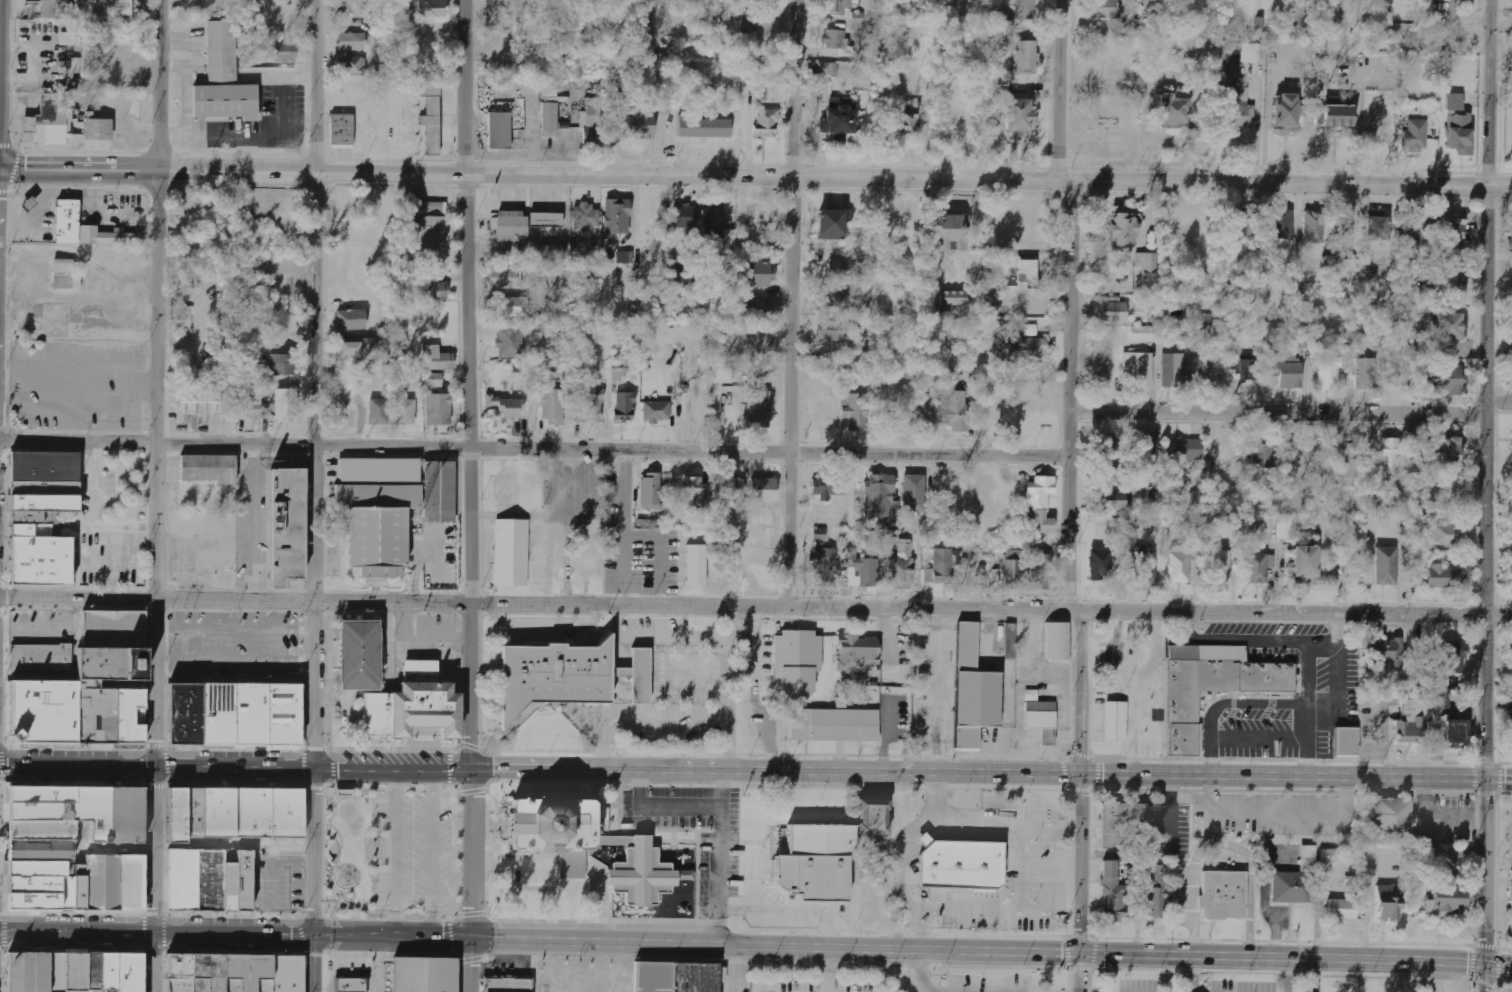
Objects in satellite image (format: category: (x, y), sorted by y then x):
building: (1136, 3)
building: (838, 6)
building: (430, 7)
building: (120, 8)
building: (56, 9)
building: (1026, 9)
building: (1104, 9)
building: (1445, 10)
building: (857, 20)
building: (757, 23)
building: (1002, 28)
building: (73, 34)
building: (834, 39)
building: (351, 42)
building: (284, 52)
building: (1026, 56)
building: (1239, 57)
building: (70, 66)
building: (351, 66)
building: (827, 69)
building: (222, 80)
road: (1061, 92)
building: (1454, 101)
building: (1240, 109)
building: (1173, 111)
building: (594, 112)
building: (1286, 112)
building: (1335, 112)
building: (431, 116)
building: (1019, 116)
building: (109, 118)
building: (839, 118)
building: (550, 120)
building: (50, 122)
building: (637, 123)
building: (767, 123)
building: (907, 123)
building: (705, 126)
building: (499, 130)
building: (1460, 133)
building: (1415, 135)
building: (592, 139)
road: (756, 178)
building: (430, 208)
building: (685, 216)
building: (585, 217)
building: (616, 217)
building: (546, 219)
building: (831, 223)
building: (717, 224)
building: (1281, 224)
building: (510, 225)
building: (1124, 227)
building: (1376, 228)
building: (1242, 229)
building: (82, 230)
building: (952, 232)
building: (425, 233)
building: (1313, 233)
building: (1342, 236)
building: (1414, 237)
building: (1453, 241)
building: (625, 257)
building: (1148, 268)
building: (846, 269)
building: (816, 270)
building: (1026, 271)
building: (754, 274)
building: (63, 276)
building: (505, 278)
building: (1440, 286)
building: (433, 290)
building: (952, 299)
road: (795, 303)
building: (512, 307)
building: (761, 307)
building: (1114, 311)
building: (351, 320)
building: (1449, 327)
building: (832, 330)
building: (1030, 330)
building: (1146, 334)
building: (510, 342)
building: (356, 349)
building: (1031, 350)
building: (438, 359)
building: (284, 364)
building: (1211, 365)
building: (1139, 368)
building: (1173, 369)
building: (1248, 369)
building: (552, 370)
building: (1102, 370)
building: (1288, 372)
building: (1329, 373)
building: (1365, 374)
building: (618, 375)
building: (722, 375)
building: (433, 379)
building: (1444, 379)
parking lot: (76, 384)
road: (159, 384)
road: (318, 385)
road: (474, 385)
road: (1487, 389)
road: (1068, 397)
building: (199, 401)
road: (1499, 403)
building: (286, 405)
building: (552, 405)
building: (507, 406)
building: (591, 406)
building: (624, 406)
building: (251, 409)
building: (436, 409)
building: (758, 409)
building: (376, 410)
building: (402, 410)
building: (956, 410)
building: (657, 411)
building: (858, 412)
road: (1277, 413)
road: (533, 445)
building: (1185, 449)
building: (1453, 450)
building: (1148, 452)
building: (1106, 454)
building: (1261, 456)
building: (1392, 456)
building: (1349, 463)
building: (205, 470)
building: (695, 488)
building: (828, 488)
building: (731, 489)
building: (763, 490)
building: (437, 491)
building: (649, 492)
building: (503, 493)
building: (914, 493)
building: (1444, 493)
building: (878, 496)
building: (1110, 501)
building: (1041, 504)
building: (376, 509)
building: (39, 512)
building: (894, 517)
building: (284, 523)
road: (624, 526)
building: (1284, 527)
building: (819, 535)
building: (1446, 536)
building: (509, 554)
building: (691, 563)
building: (1100, 563)
building: (945, 564)
building: (1146, 564)
building: (1305, 565)
building: (588, 566)
building: (902, 566)
building: (1387, 566)
building: (825, 567)
building: (1220, 567)
building: (1259, 567)
building: (1179, 568)
building: (865, 569)
building: (1013, 570)
building: (1039, 572)
building: (1444, 576)
road: (755, 606)
building: (1011, 641)
parking lot: (234, 643)
building: (1055, 643)
building: (1387, 652)
building: (357, 654)
building: (856, 655)
building: (40, 656)
building: (796, 664)
building: (1447, 664)
building: (564, 674)
building: (108, 684)
building: (86, 685)
building: (1214, 687)
building: (1406, 688)
building: (973, 693)
road: (1080, 693)
building: (1439, 701)
building: (412, 705)
building: (232, 713)
building: (1038, 717)
building: (1412, 721)
building: (1115, 722)
building: (832, 726)
building: (1456, 731)
building: (1509, 731)
building: (1347, 742)
road: (2, 746)
road: (5, 765)
traffic signals: (320, 771)
road: (756, 773)
traffic signals: (1082, 776)
traffic signals: (1488, 778)
road: (722, 786)
road: (2, 793)
road: (637, 793)
road: (334, 807)
building: (234, 812)
building: (872, 817)
building: (1394, 820)
building: (1121, 821)
road: (721, 835)
building: (585, 844)
building: (40, 847)
road: (3, 848)
park: (352, 848)
parking lot: (417, 848)
road: (332, 850)
building: (1329, 856)
building: (813, 860)
building: (960, 865)
road: (1486, 870)
building: (684, 875)
building: (207, 879)
road: (156, 880)
building: (1297, 880)
road: (319, 881)
road: (473, 881)
parking lot: (279, 883)
road: (1080, 883)
building: (1158, 893)
building: (1113, 894)
building: (1221, 897)
road: (1, 899)
road: (332, 899)
building: (1446, 900)
road: (368, 901)
building: (1389, 903)
building: (1342, 909)
building: (1511, 922)
road: (3, 930)
traffic signals: (319, 935)
traffic signals: (473, 937)
road: (756, 942)
road: (1, 946)
traffic signals: (1079, 954)
traffic signals: (1484, 962)
road: (827, 968)
building: (14, 970)
building: (34, 970)
building: (52, 970)
building: (100, 970)
building: (234, 970)
building: (422, 975)
road: (1483, 977)
building: (675, 978)
road: (921, 982)
building: (350, 985)
building: (506, 985)

